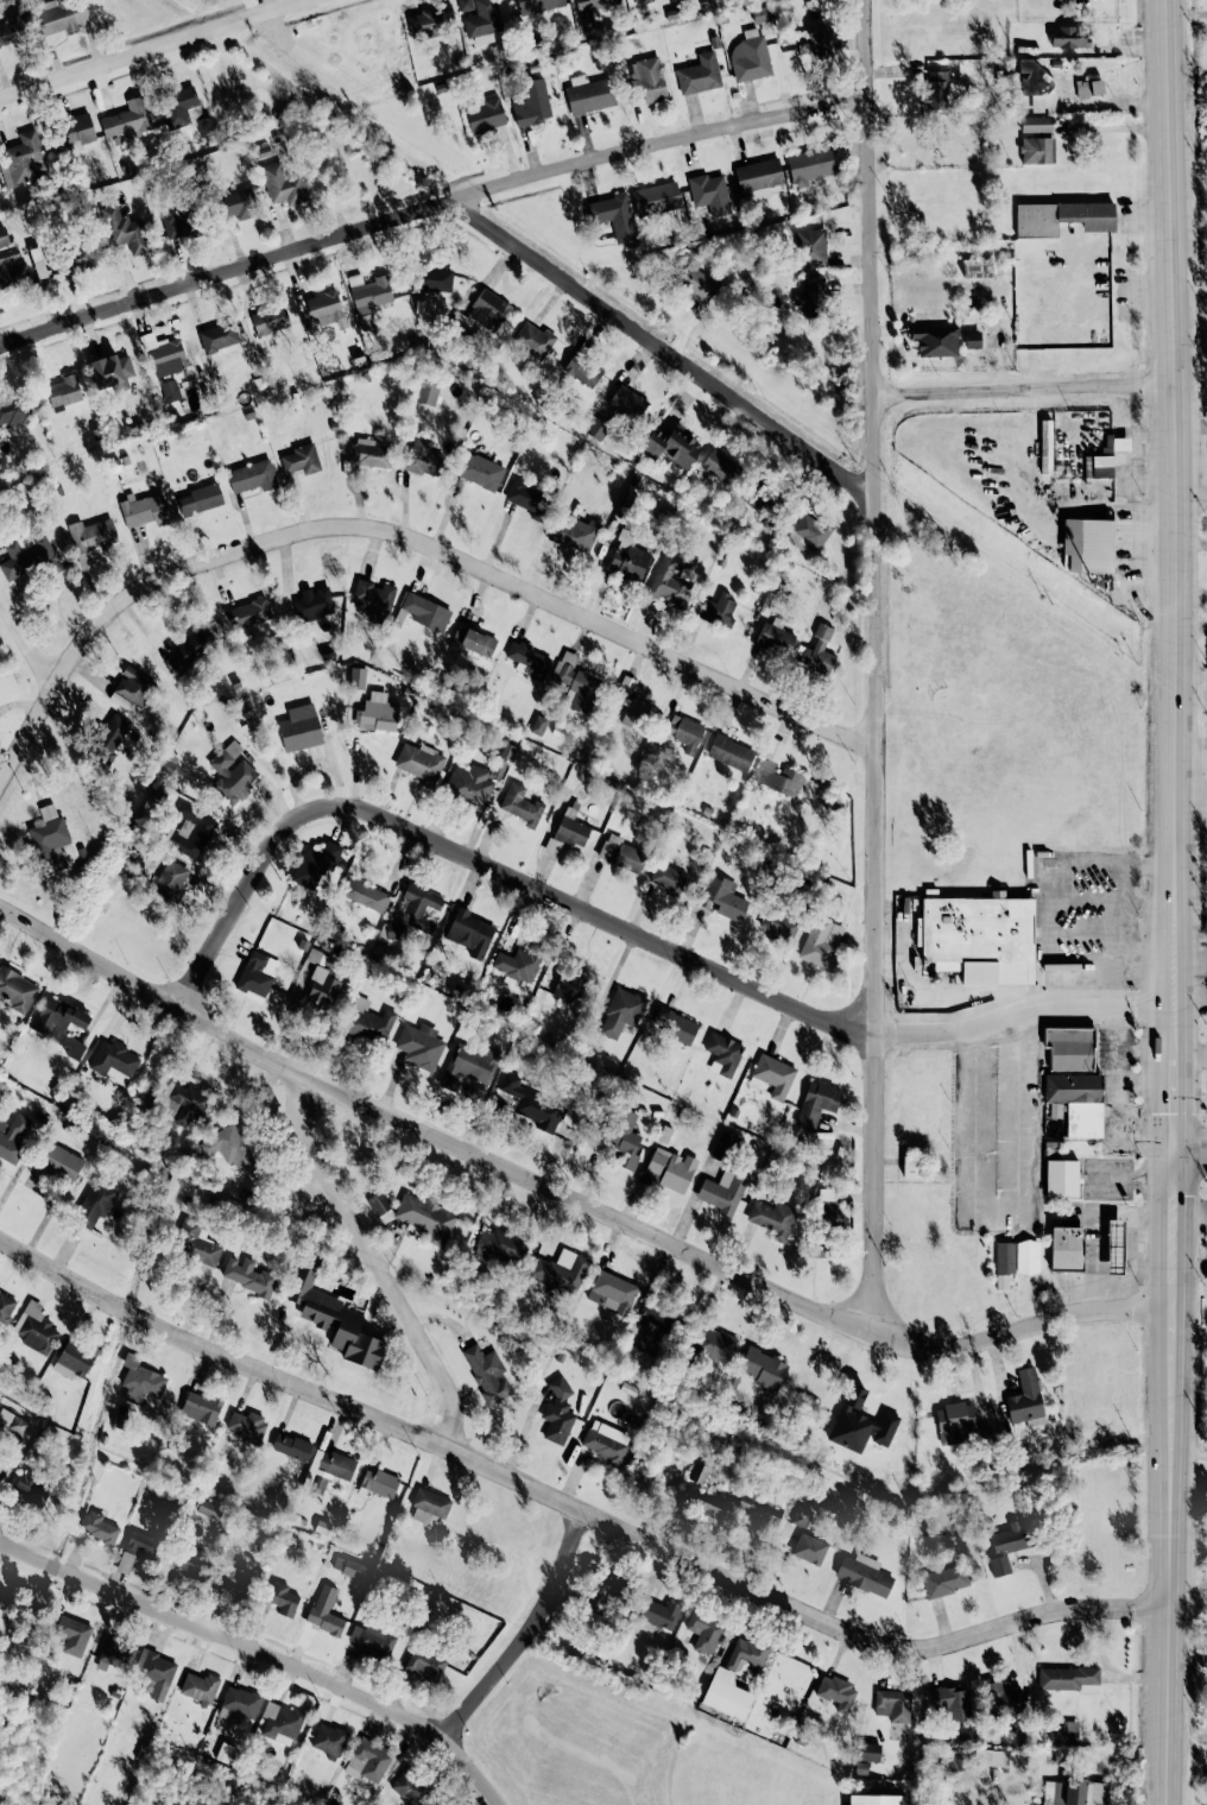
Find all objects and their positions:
building: (695, 0)
building: (465, 5)
building: (538, 5)
building: (592, 11)
building: (61, 15)
building: (430, 20)
building: (482, 21)
building: (13, 30)
building: (1067, 36)
building: (814, 42)
road: (158, 46)
building: (750, 56)
building: (700, 74)
building: (647, 78)
building: (1034, 80)
building: (1089, 88)
building: (936, 90)
building: (589, 94)
building: (532, 103)
building: (187, 111)
building: (484, 113)
building: (126, 119)
building: (1036, 124)
road: (1117, 128)
building: (76, 131)
road: (658, 147)
building: (1037, 150)
building: (23, 160)
building: (811, 164)
building: (285, 183)
building: (709, 193)
building: (655, 198)
building: (238, 204)
road: (469, 215)
building: (614, 217)
building: (1062, 217)
building: (178, 221)
building: (126, 231)
building: (811, 247)
building: (8, 255)
building: (78, 258)
building: (978, 267)
building: (693, 276)
road: (1192, 278)
building: (434, 279)
building: (371, 294)
building: (811, 298)
building: (324, 308)
building: (488, 310)
building: (270, 320)
building: (219, 336)
building: (973, 339)
building: (533, 340)
building: (936, 340)
building: (165, 354)
building: (110, 368)
building: (582, 370)
building: (64, 390)
building: (170, 390)
building: (426, 392)
road: (1025, 392)
building: (628, 402)
building: (12, 409)
building: (595, 428)
building: (1117, 443)
building: (670, 446)
building: (1045, 446)
building: (366, 454)
building: (423, 457)
building: (301, 460)
building: (720, 466)
building: (1102, 466)
building: (480, 471)
building: (252, 477)
building: (763, 498)
building: (200, 499)
building: (527, 499)
building: (145, 510)
building: (574, 532)
building: (809, 532)
building: (91, 538)
road: (406, 543)
building: (1088, 544)
building: (30, 555)
building: (630, 561)
building: (668, 582)
building: (372, 599)
building: (314, 604)
building: (718, 610)
building: (425, 611)
building: (248, 613)
building: (775, 638)
building: (469, 642)
road: (25, 645)
building: (190, 649)
building: (819, 651)
building: (527, 659)
building: (564, 667)
road: (874, 668)
building: (131, 688)
building: (583, 692)
building: (378, 713)
building: (636, 713)
building: (538, 725)
building: (299, 732)
building: (685, 732)
building: (109, 738)
building: (731, 752)
building: (419, 762)
building: (777, 770)
building: (232, 772)
building: (472, 783)
building: (522, 804)
building: (569, 831)
building: (195, 833)
building: (50, 838)
building: (623, 854)
building: (315, 864)
road: (1088, 865)
road: (1125, 873)
building: (666, 878)
building: (171, 879)
building: (365, 895)
building: (725, 898)
road: (1175, 902)
building: (419, 908)
building: (777, 924)
road: (620, 928)
building: (388, 932)
building: (470, 933)
building: (980, 938)
road: (1050, 940)
road: (1116, 942)
building: (821, 943)
building: (320, 958)
building: (517, 965)
building: (257, 976)
building: (568, 986)
building: (323, 987)
building: (17, 990)
building: (621, 1012)
building: (369, 1021)
building: (59, 1024)
building: (674, 1024)
building: (419, 1046)
building: (1070, 1047)
building: (723, 1054)
building: (113, 1059)
building: (468, 1064)
building: (773, 1074)
building: (817, 1102)
building: (1078, 1102)
building: (188, 1103)
building: (531, 1104)
building: (12, 1137)
building: (624, 1141)
building: (723, 1146)
building: (233, 1147)
road: (1192, 1154)
traffic signals: (1177, 1155)
building: (62, 1163)
building: (669, 1170)
building: (1062, 1178)
building: (722, 1192)
road: (570, 1199)
building: (95, 1203)
building: (378, 1203)
building: (827, 1212)
building: (426, 1217)
building: (773, 1218)
building: (501, 1243)
building: (197, 1245)
building: (820, 1245)
building: (1114, 1247)
building: (1066, 1248)
building: (1028, 1256)
road: (371, 1262)
building: (1004, 1263)
building: (561, 1270)
building: (247, 1275)
building: (612, 1292)
building: (6, 1307)
building: (334, 1317)
building: (36, 1327)
building: (651, 1330)
building: (716, 1344)
building: (74, 1358)
building: (763, 1368)
building: (487, 1372)
building: (140, 1380)
building: (1025, 1399)
building: (201, 1407)
building: (558, 1410)
building: (13, 1422)
building: (860, 1424)
building: (959, 1424)
building: (246, 1425)
building: (605, 1440)
building: (291, 1446)
building: (335, 1464)
building: (2, 1468)
building: (699, 1472)
building: (379, 1482)
building: (32, 1488)
building: (710, 1502)
building: (429, 1504)
road: (571, 1508)
building: (758, 1508)
building: (209, 1509)
building: (801, 1516)
building: (97, 1527)
building: (143, 1544)
building: (1010, 1545)
building: (809, 1548)
building: (190, 1560)
building: (350, 1567)
building: (862, 1573)
building: (235, 1577)
building: (944, 1580)
building: (603, 1590)
building: (283, 1598)
building: (326, 1610)
building: (662, 1614)
building: (704, 1632)
road: (526, 1633)
building: (72, 1634)
building: (372, 1640)
building: (115, 1653)
road: (263, 1653)
building: (746, 1654)
building: (424, 1665)
building: (157, 1673)
building: (1066, 1677)
building: (200, 1686)
building: (836, 1692)
building: (726, 1694)
building: (1004, 1699)
building: (241, 1700)
building: (952, 1703)
building: (893, 1705)
building: (279, 1723)
building: (328, 1740)
building: (223, 1750)
building: (868, 1752)
road: (1188, 1755)
building: (368, 1761)
building: (861, 1767)
building: (409, 1786)
building: (1074, 1793)
building: (877, 1799)

